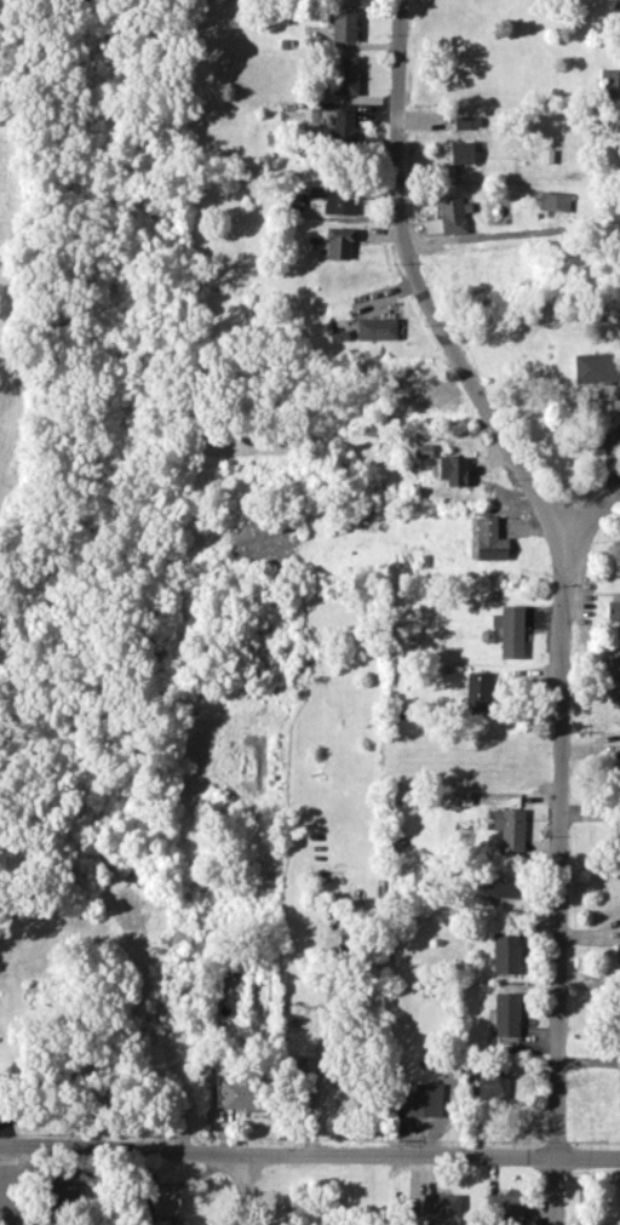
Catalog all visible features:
building: (343, 24)
building: (344, 74)
building: (608, 84)
building: (465, 121)
building: (339, 128)
building: (460, 151)
building: (339, 200)
building: (553, 201)
building: (450, 214)
building: (337, 242)
building: (375, 328)
building: (596, 367)
park: (82, 383)
building: (415, 383)
building: (423, 450)
building: (452, 469)
road: (590, 516)
building: (488, 539)
road: (562, 591)
building: (612, 609)
building: (509, 630)
building: (477, 691)
building: (251, 762)
building: (619, 820)
building: (509, 828)
building: (500, 886)
building: (505, 952)
building: (618, 954)
building: (505, 1013)
building: (306, 1064)
building: (492, 1084)
building: (240, 1094)
building: (423, 1100)
road: (310, 1156)
road: (247, 1190)
building: (59, 1193)
building: (165, 1202)
building: (504, 1206)
building: (441, 1207)

